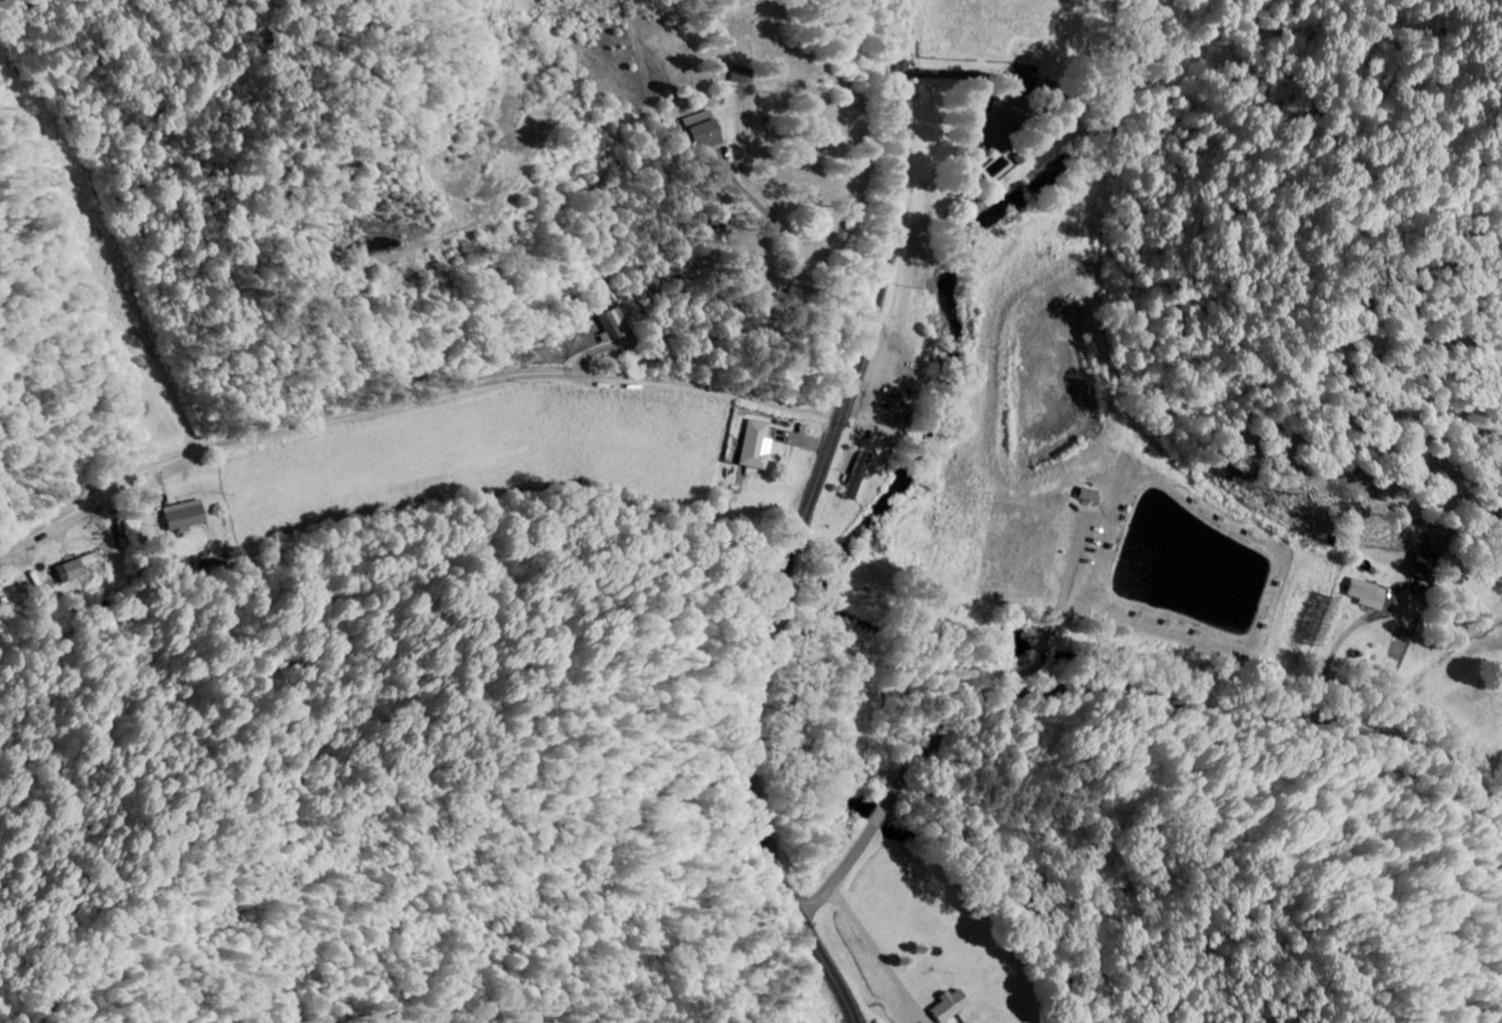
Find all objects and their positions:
building: (991, 131)
building: (699, 136)
road: (184, 321)
building: (614, 326)
road: (408, 400)
building: (757, 447)
road: (828, 459)
building: (856, 477)
building: (1087, 496)
building: (181, 517)
building: (72, 569)
building: (1368, 595)
road: (1125, 719)
road: (838, 969)
building: (947, 1008)

